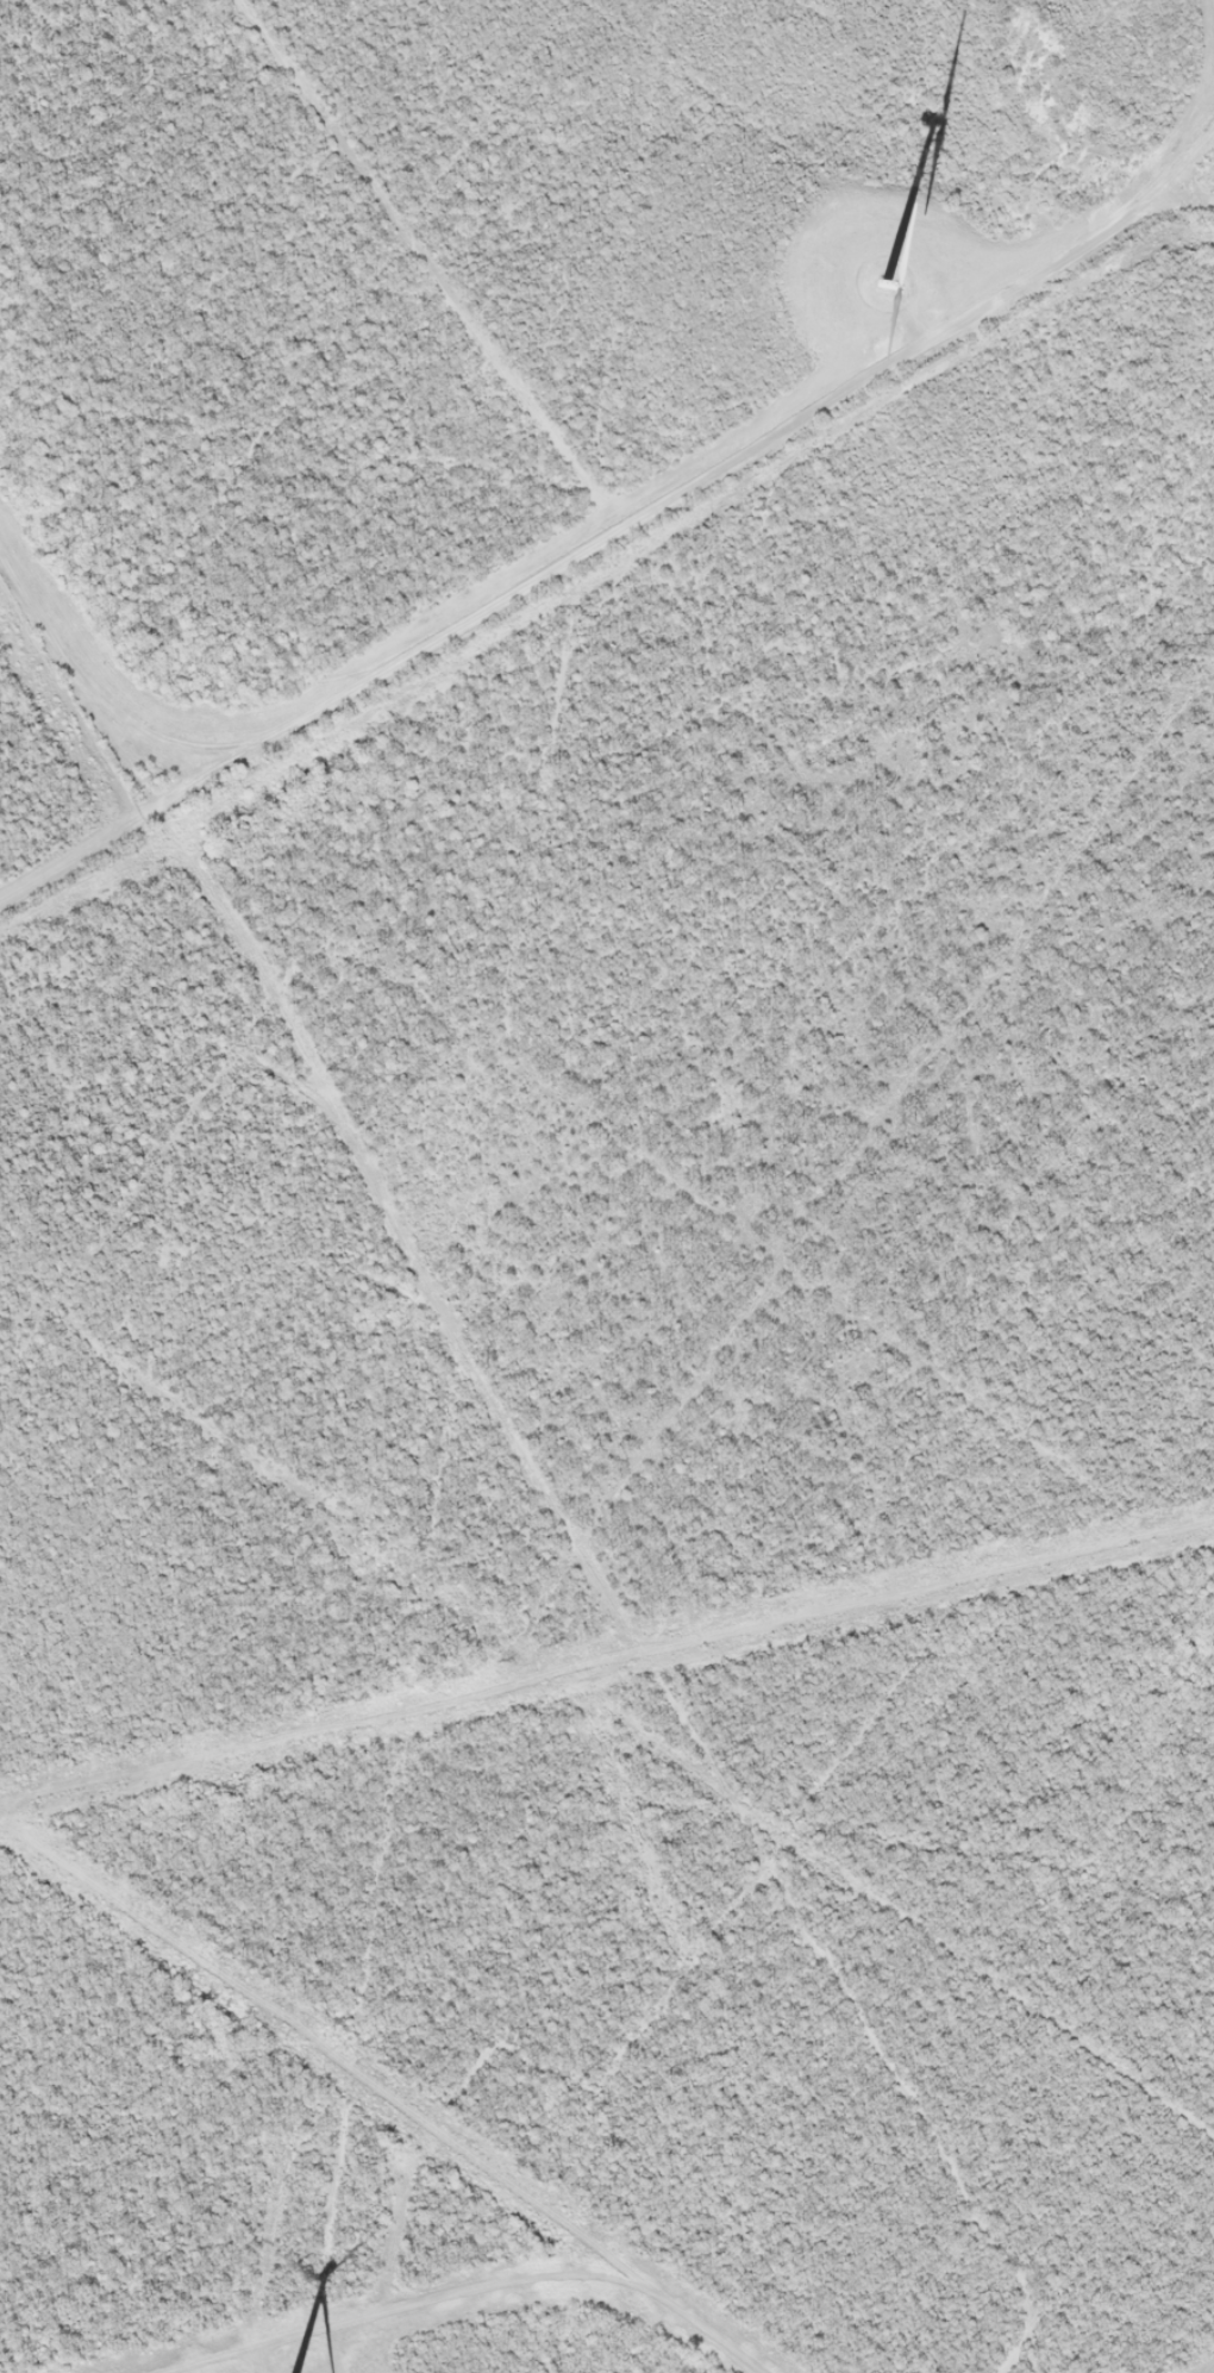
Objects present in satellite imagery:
wind turbine: (888, 286)
road: (567, 1410)
road: (607, 1588)

